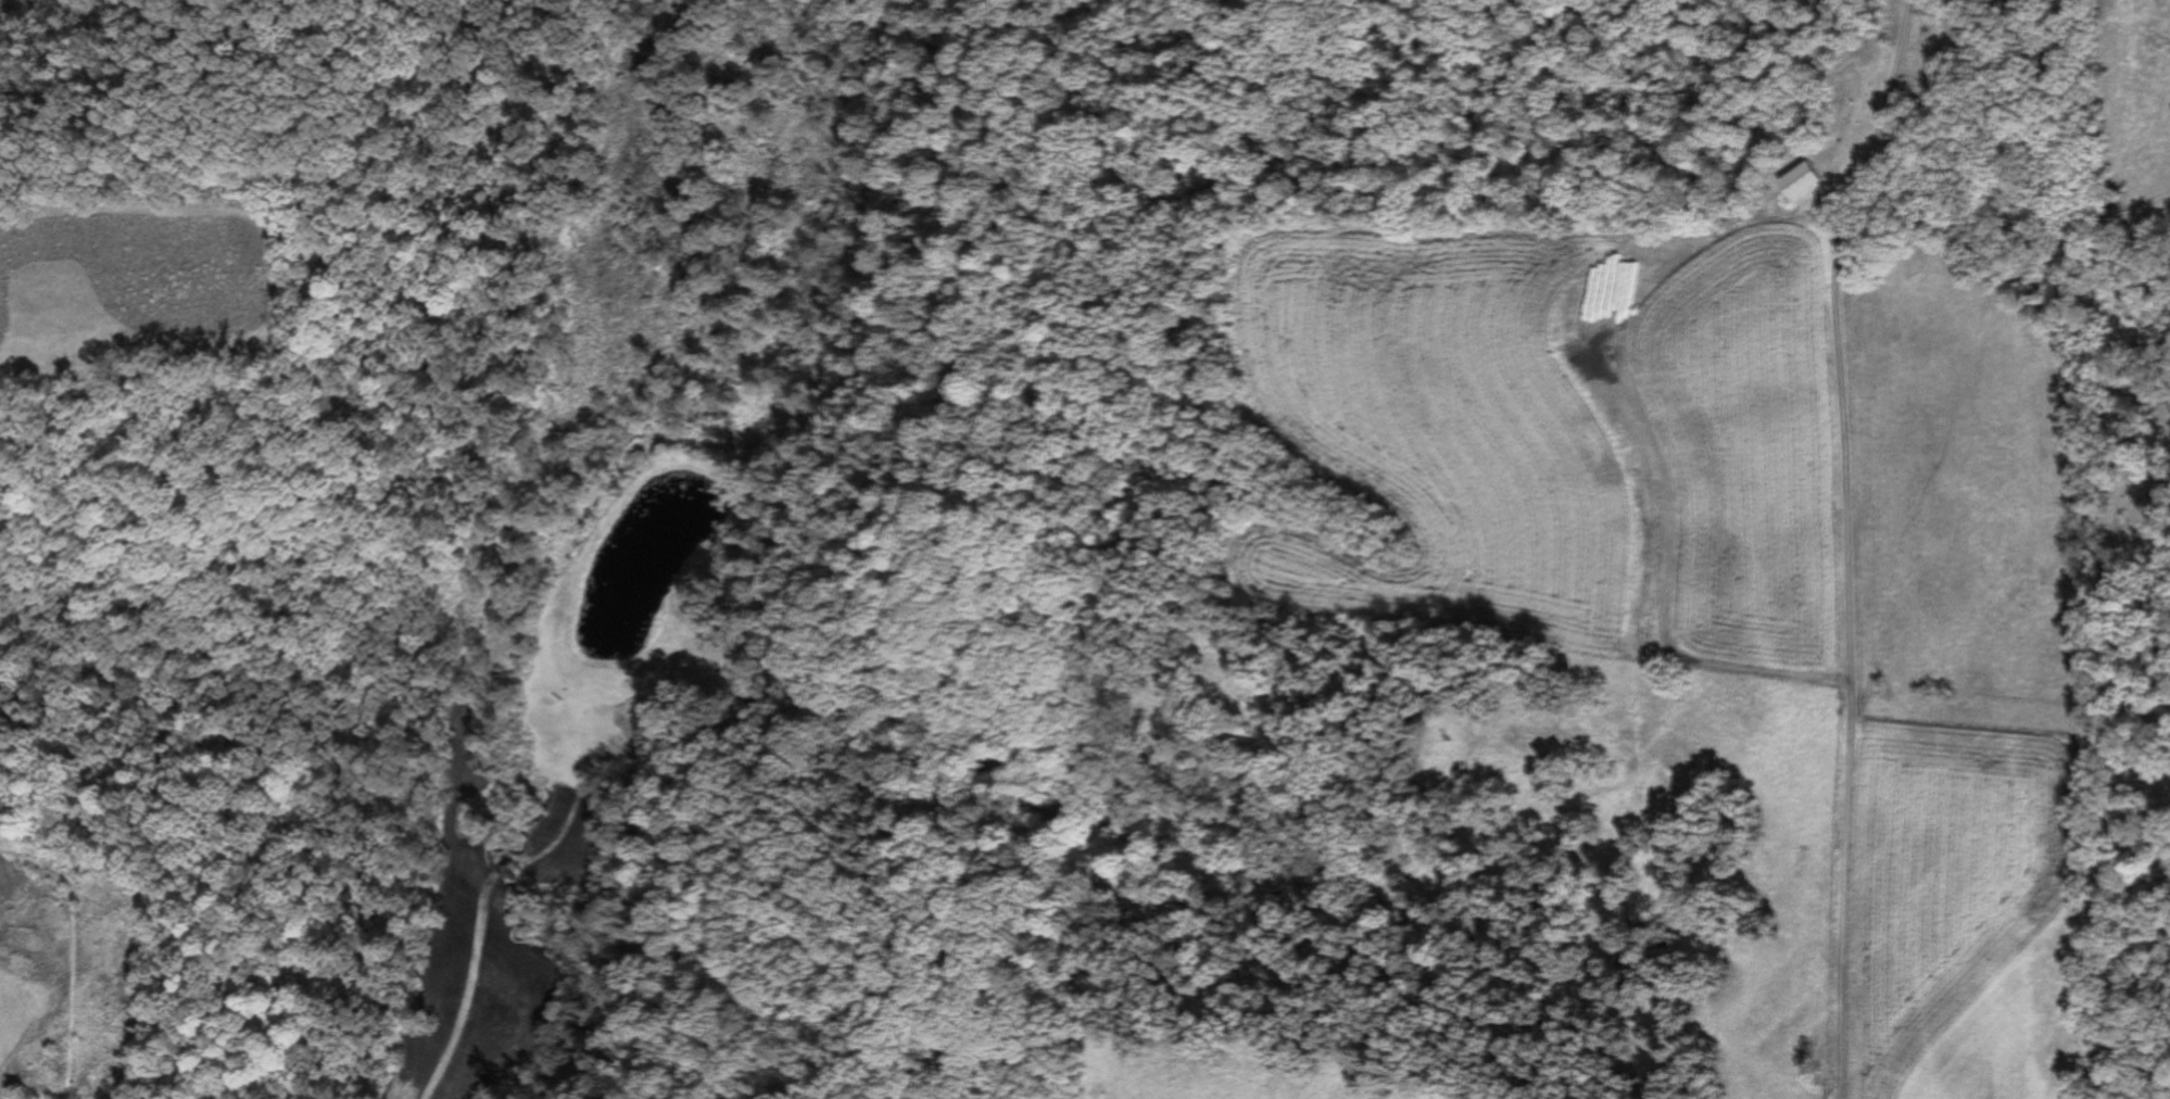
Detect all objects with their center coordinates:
road: (1877, 546)

